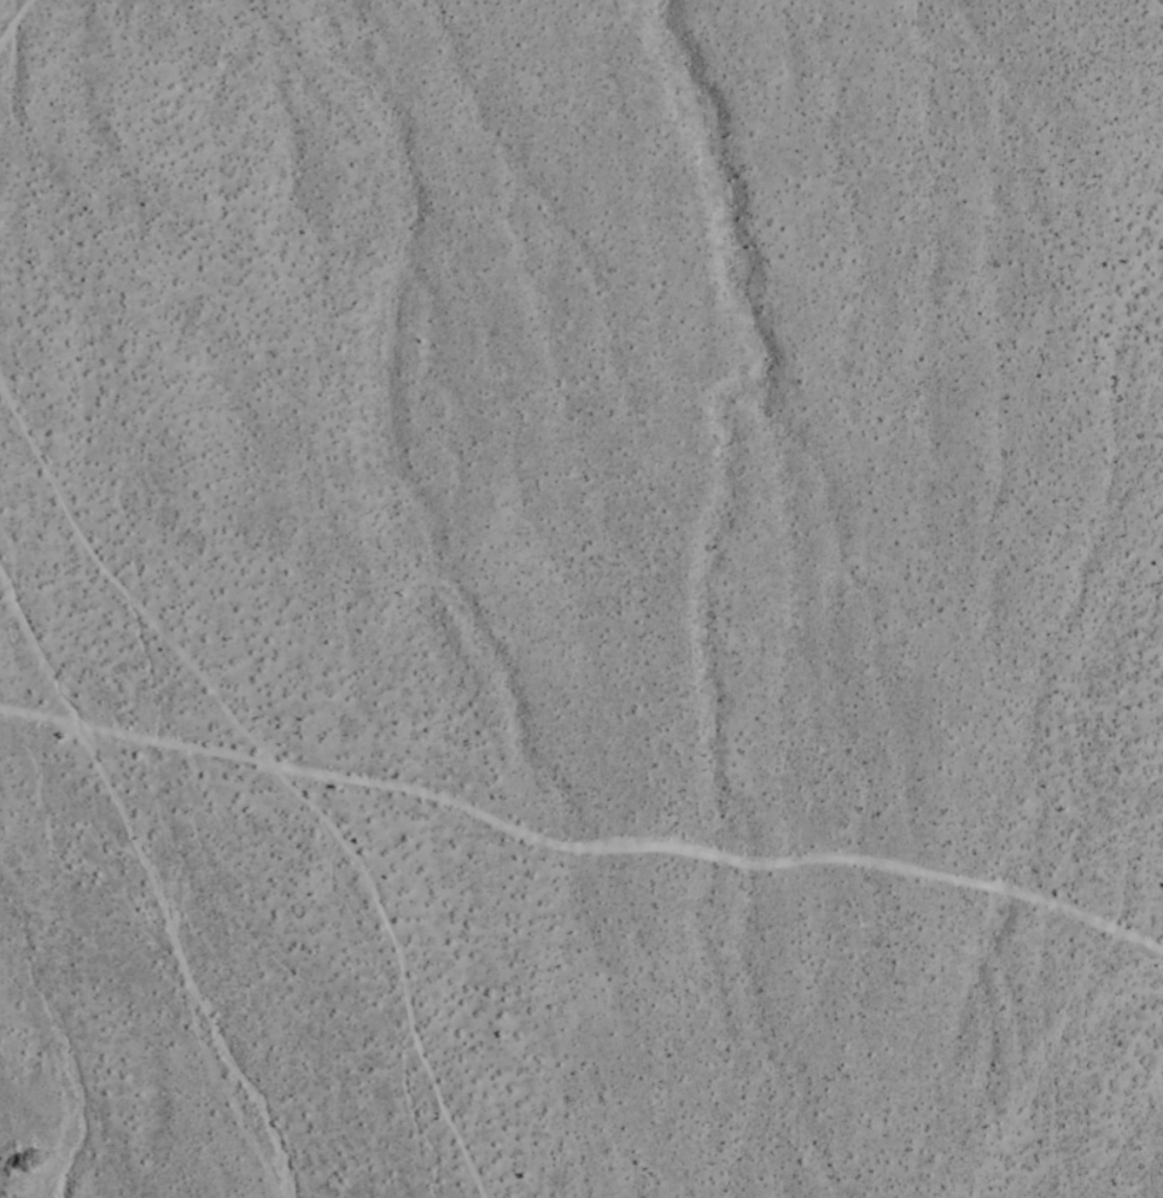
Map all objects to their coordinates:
road: (12, 28)
road: (113, 799)
road: (581, 830)

